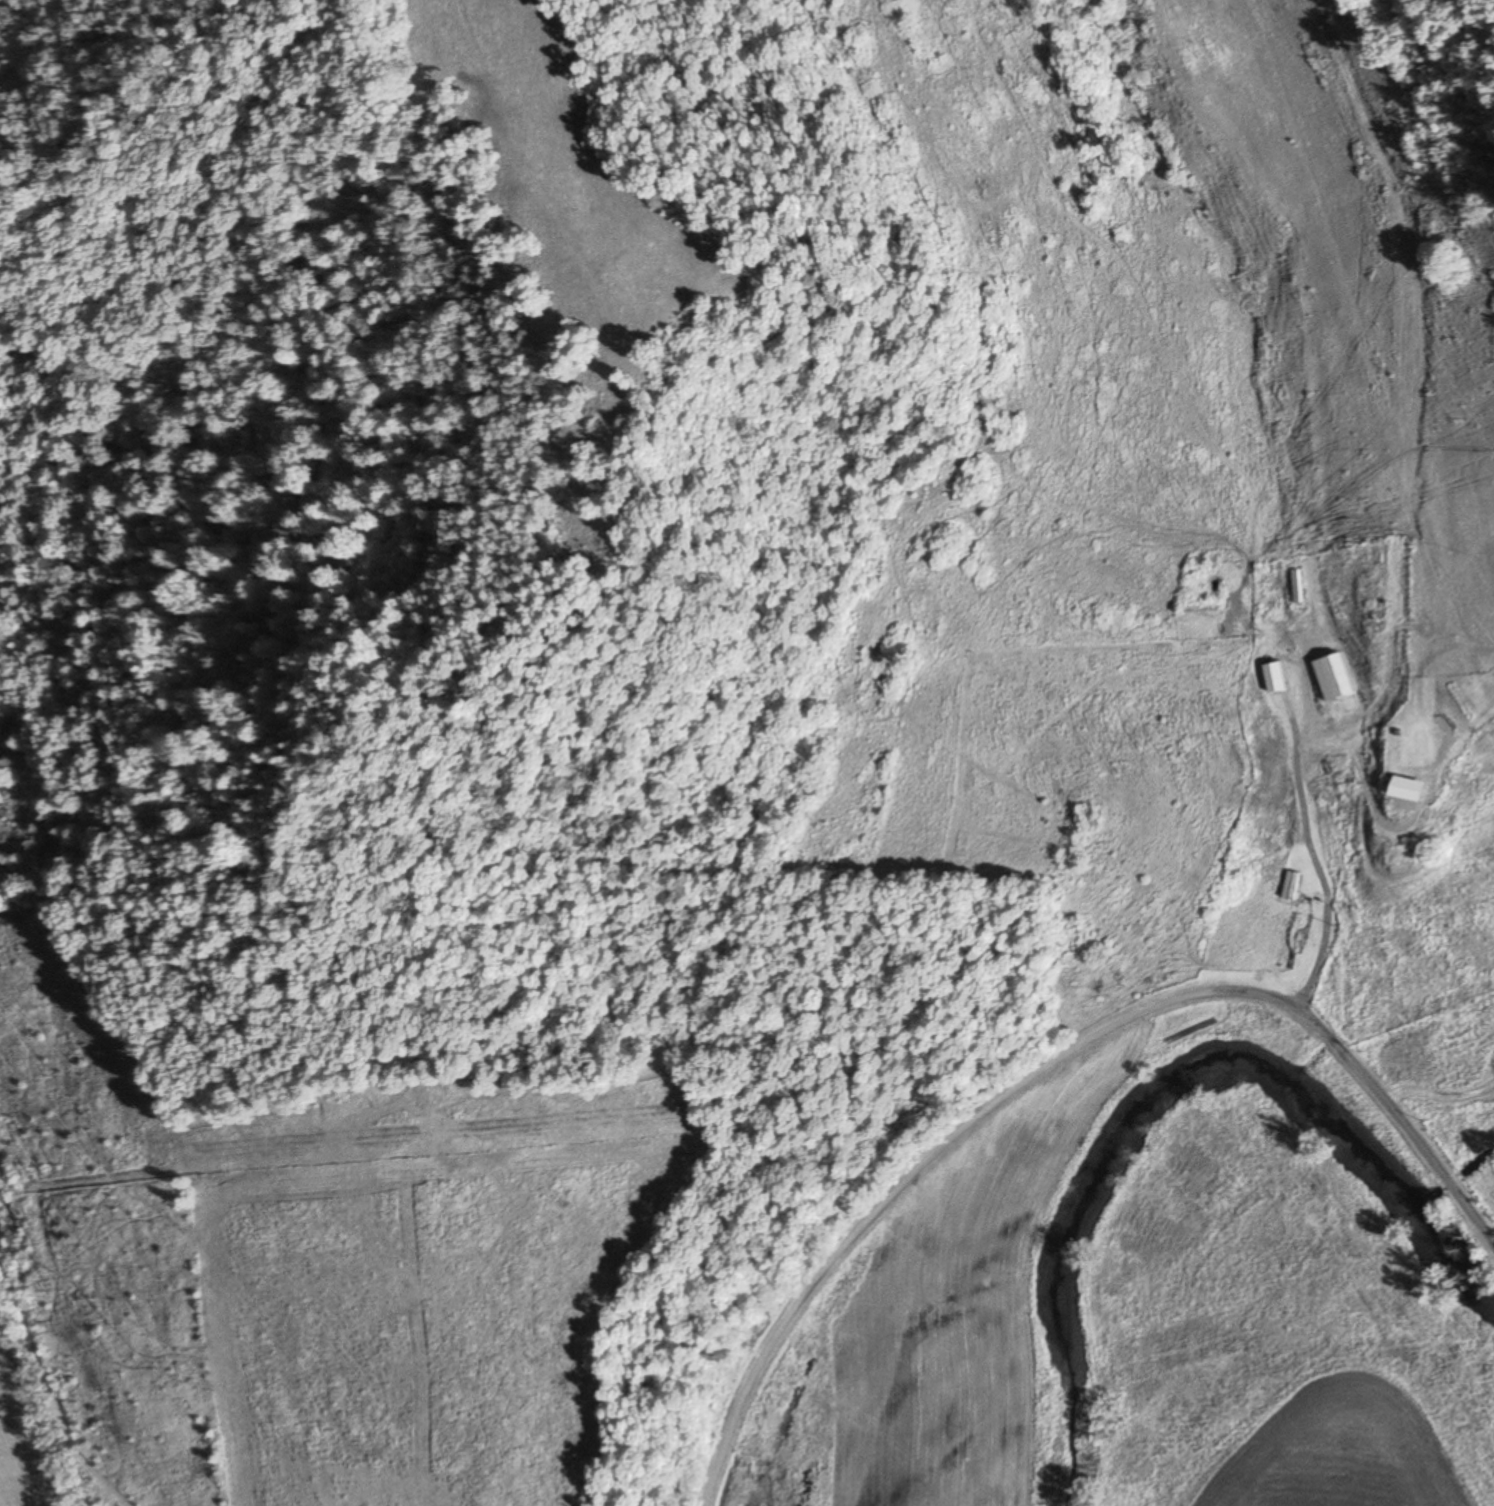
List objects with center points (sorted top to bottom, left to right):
building: (1338, 676)
building: (1277, 677)
road: (1052, 1070)

